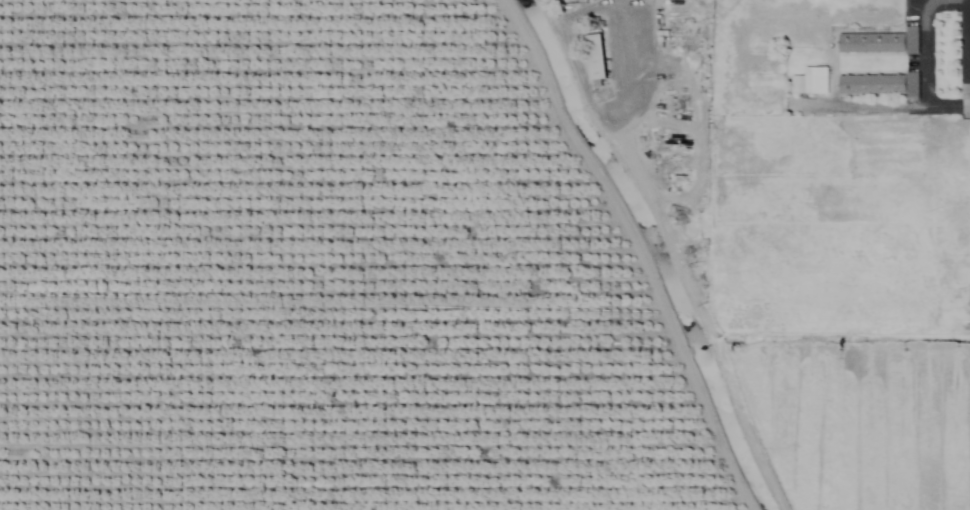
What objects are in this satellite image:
building: (876, 41)
road: (968, 43)
road: (631, 51)
road: (923, 52)
building: (591, 59)
building: (807, 80)
building: (876, 83)
road: (868, 107)
crop: (414, 288)

